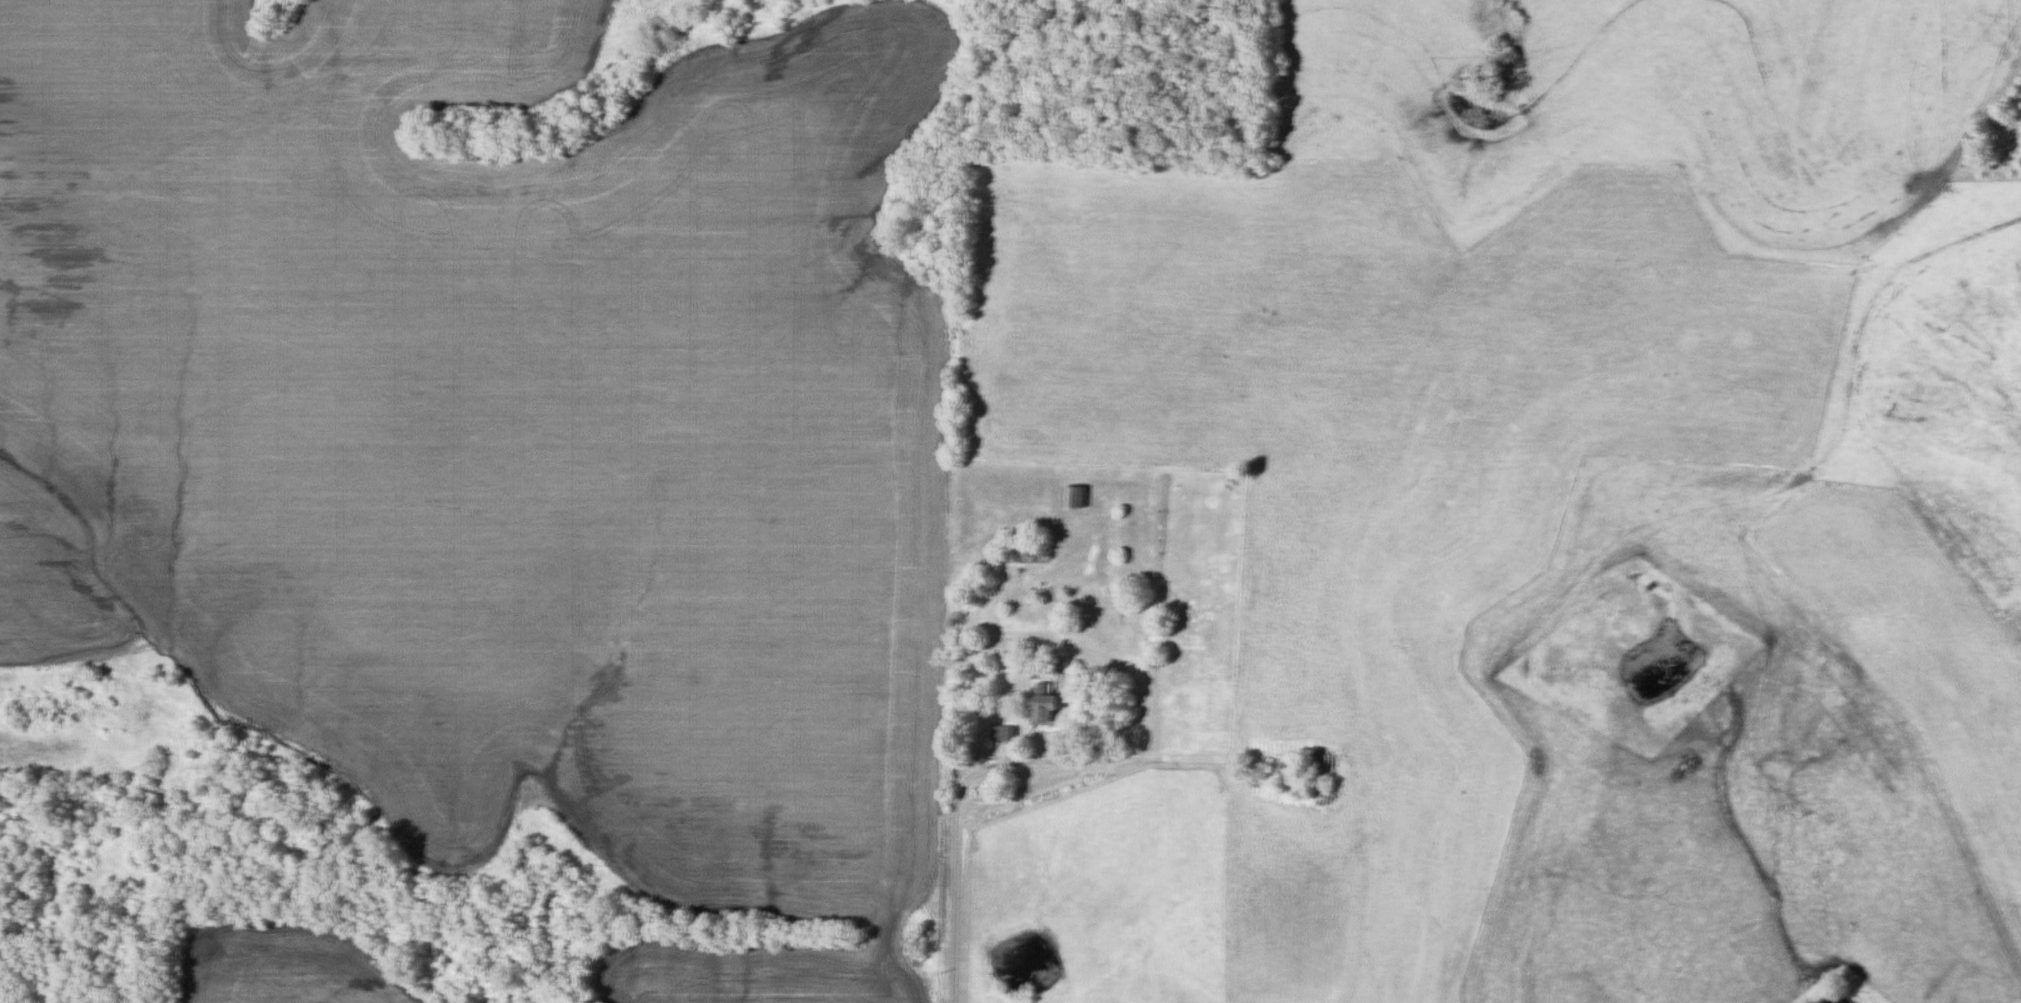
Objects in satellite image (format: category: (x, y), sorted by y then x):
crop: (506, 435)
building: (1076, 498)
building: (1047, 706)
building: (1005, 735)
road: (958, 849)
crop: (285, 963)

